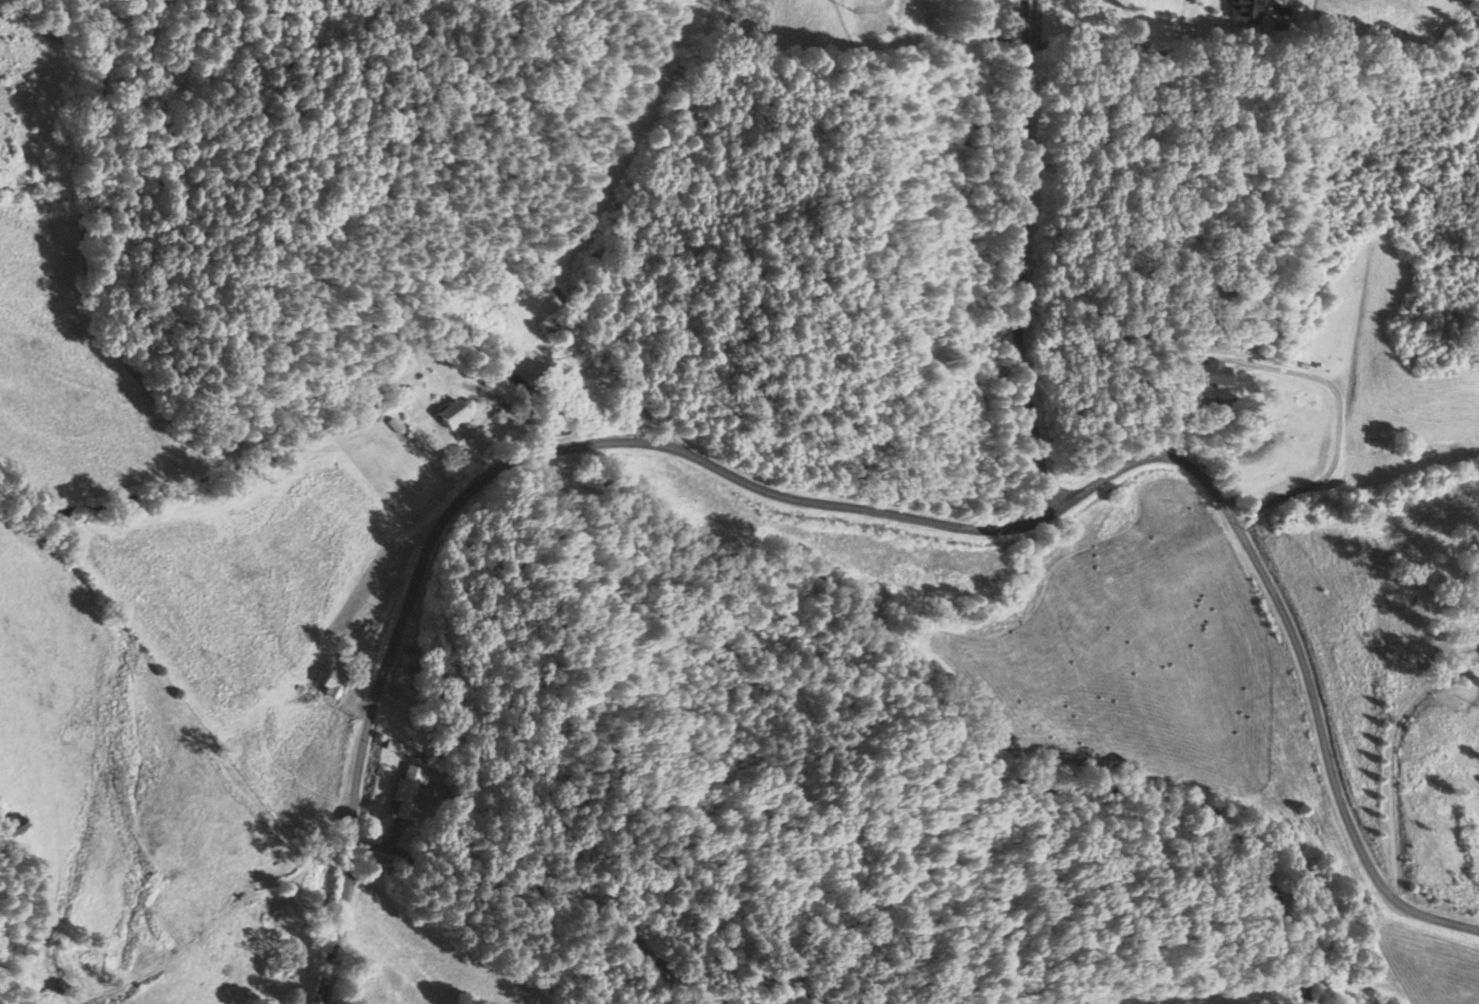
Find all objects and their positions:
building: (1247, 11)
road: (1024, 260)
building: (1215, 372)
building: (456, 413)
road: (624, 441)
road: (253, 446)
road: (1148, 459)
road: (933, 522)
building: (407, 657)
building: (335, 683)
road: (1324, 741)
road: (365, 744)
building: (409, 791)

